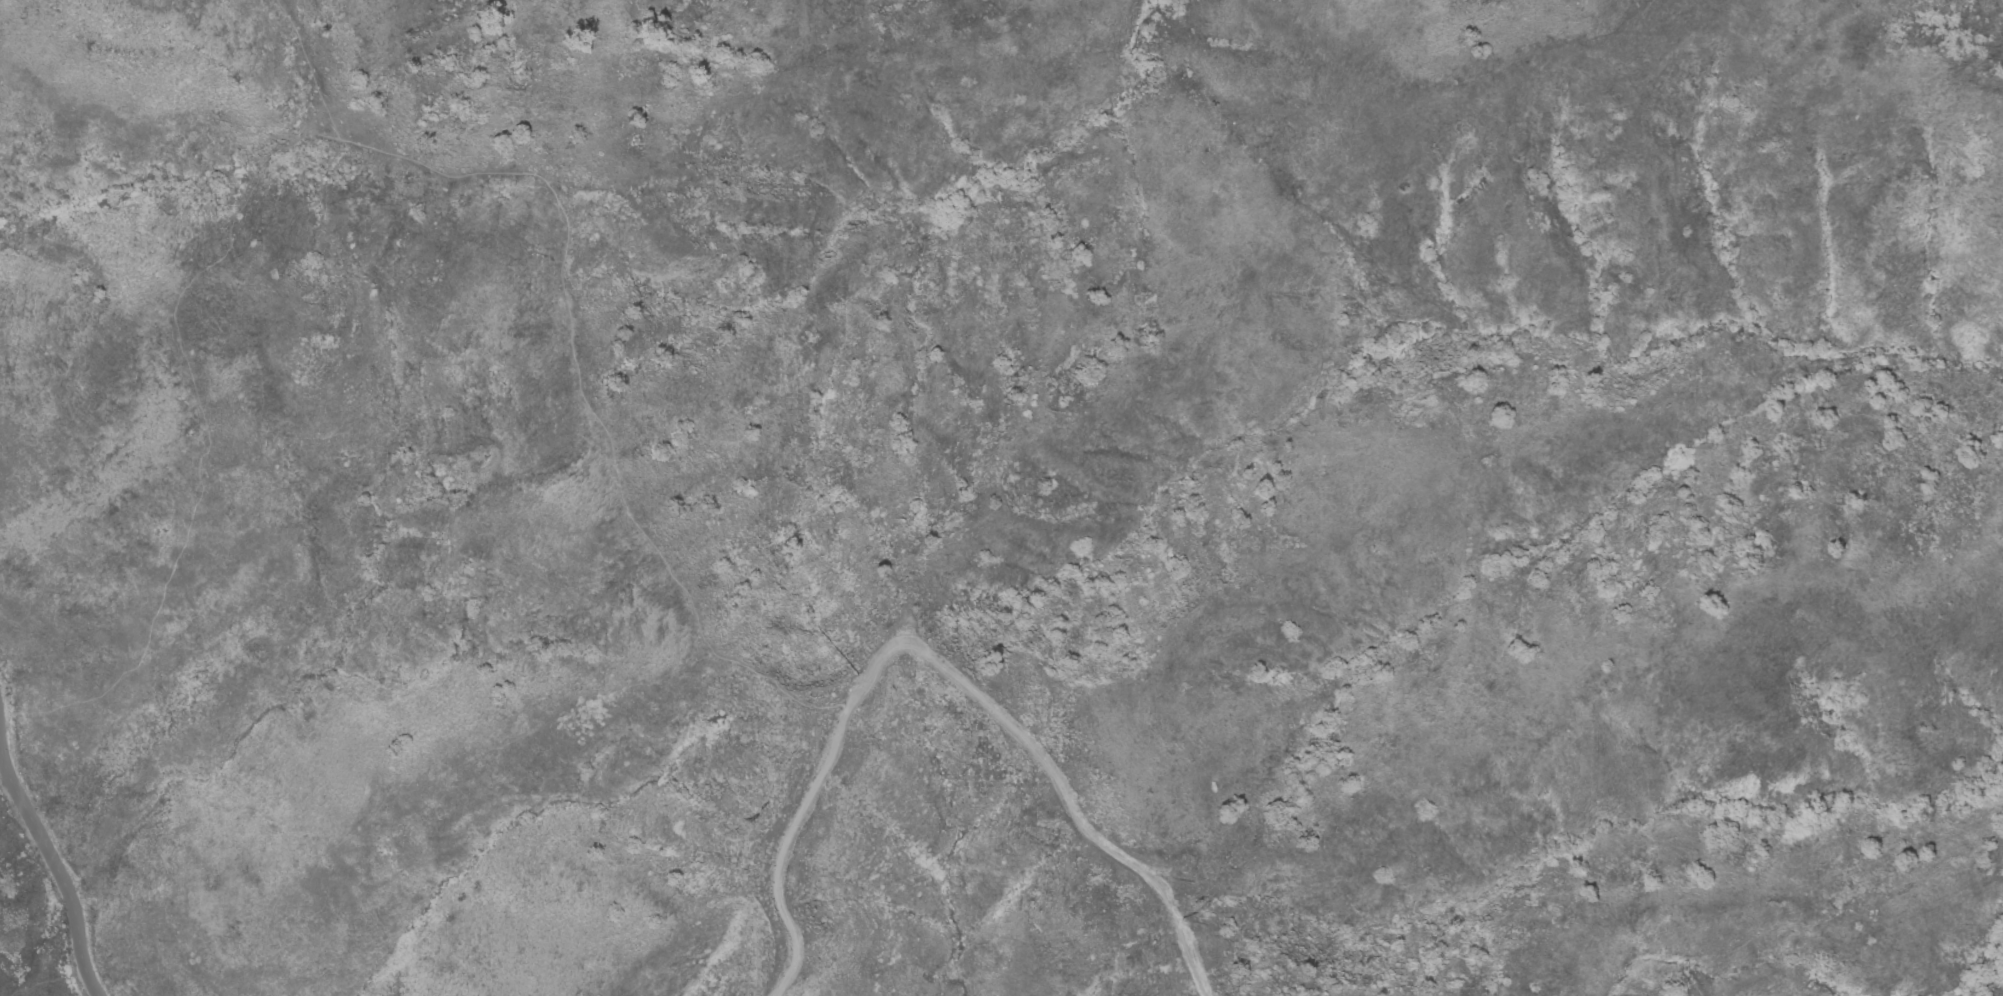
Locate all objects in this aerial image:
road: (567, 325)
road: (935, 664)
road: (437, 770)
road: (55, 870)
road: (1834, 910)

